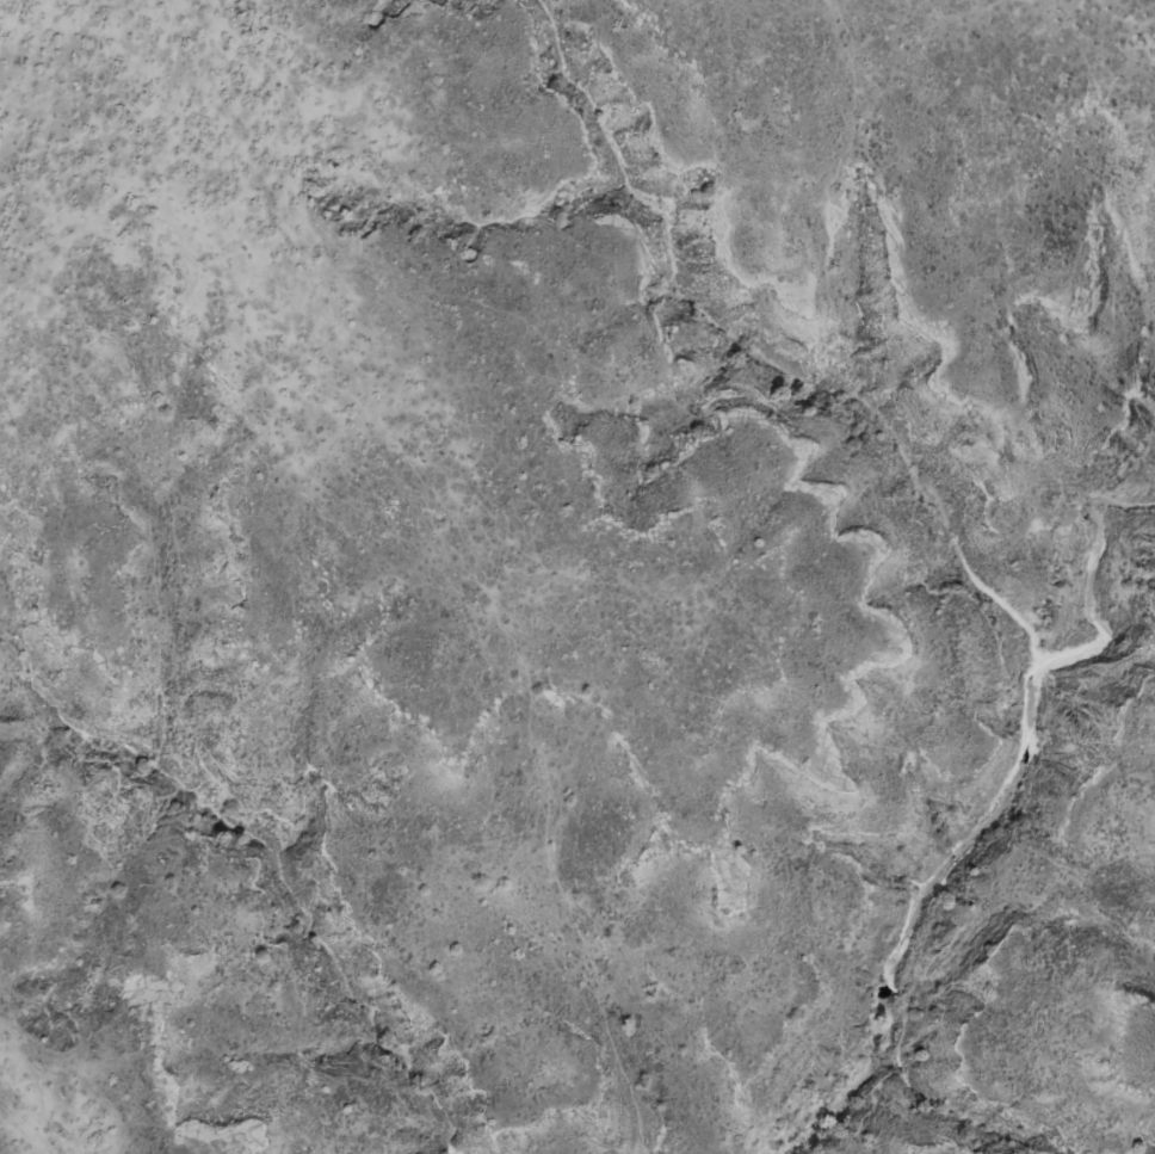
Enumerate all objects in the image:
road: (24, 1124)

